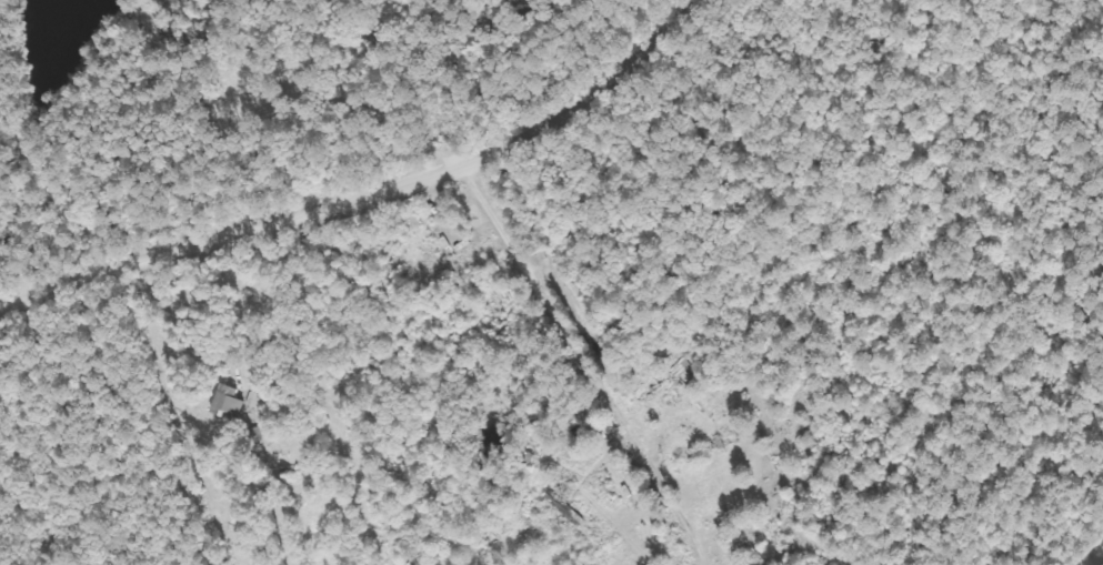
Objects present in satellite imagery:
road: (365, 188)
building: (224, 402)

